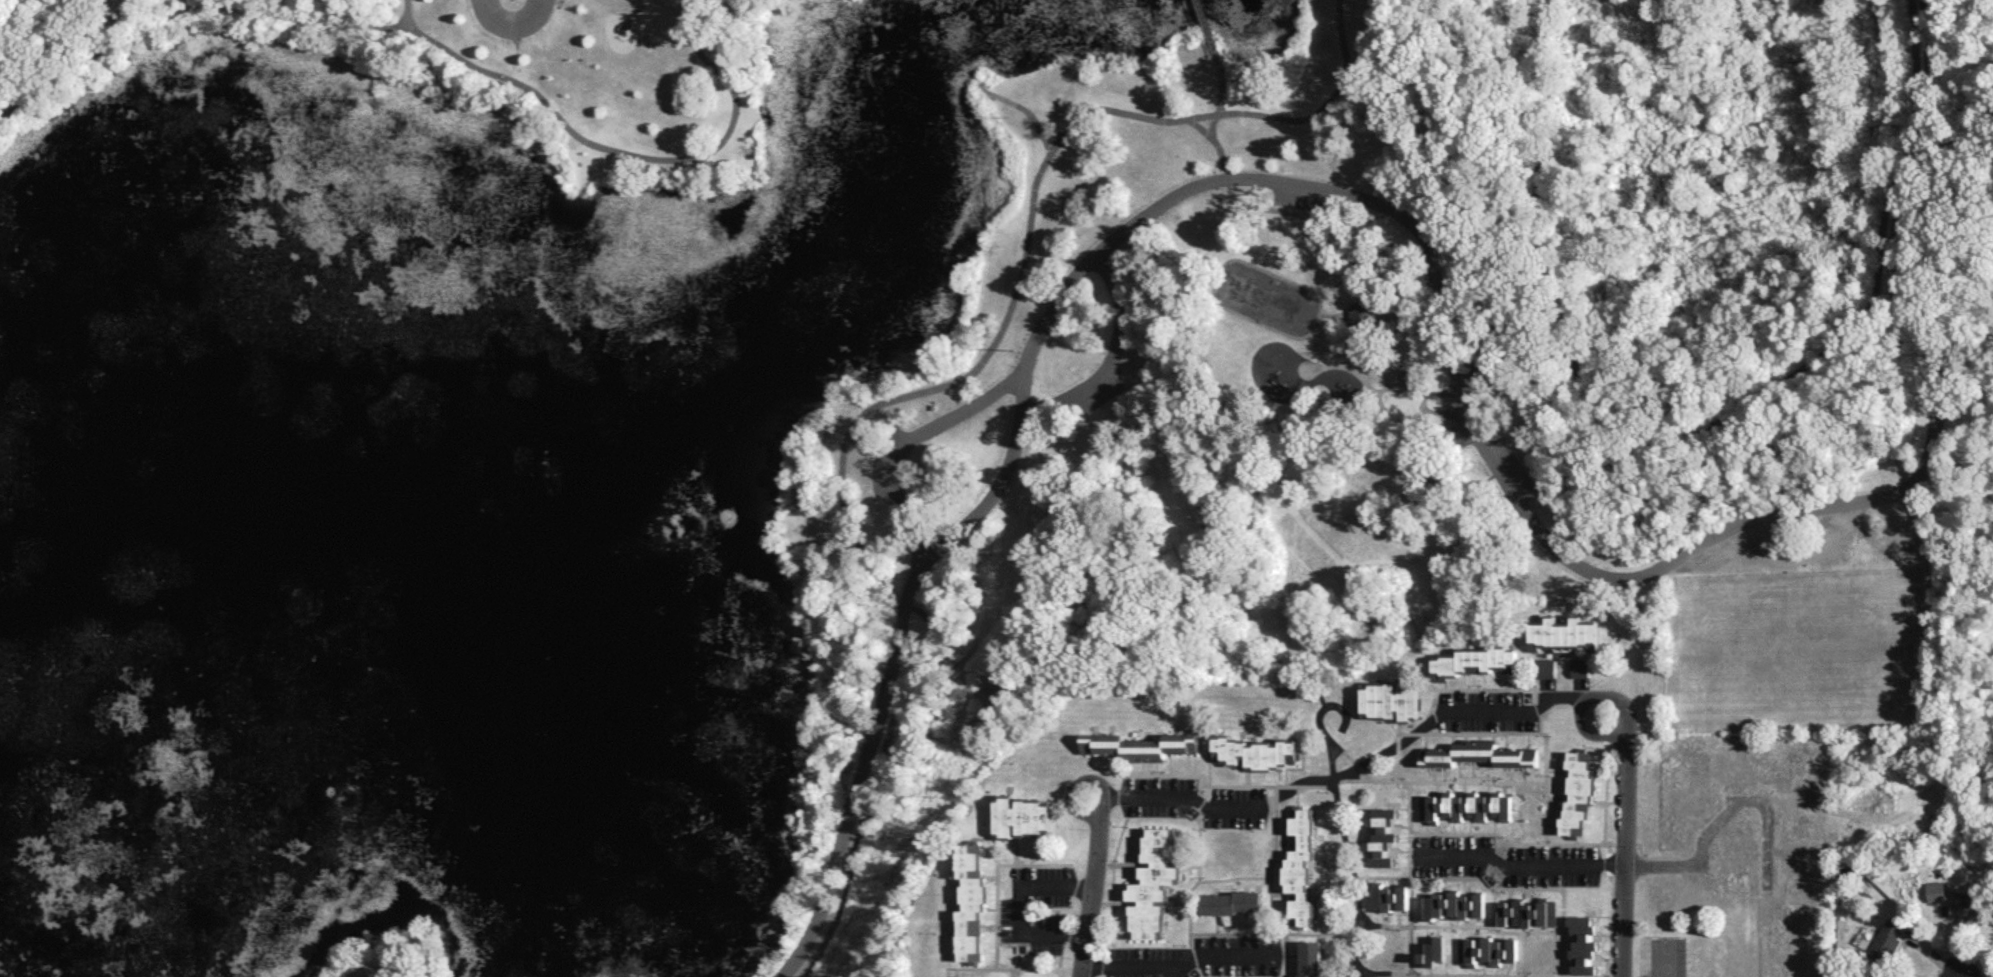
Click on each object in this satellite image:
pier: (922, 0)
road: (548, 1)
road: (685, 1)
road: (617, 2)
road: (408, 13)
road: (687, 15)
road: (510, 21)
road: (1209, 27)
road: (442, 44)
road: (1025, 106)
road: (1201, 126)
road: (1228, 169)
parking lot: (1301, 199)
road: (1352, 255)
road: (1434, 260)
road: (1219, 302)
road: (1346, 311)
road: (1390, 313)
building: (1365, 315)
road: (1365, 332)
road: (1113, 354)
road: (1342, 363)
building: (1399, 378)
road: (925, 389)
parking lot: (1102, 394)
parking lot: (1456, 414)
park: (861, 417)
road: (1402, 418)
road: (1447, 420)
road: (1672, 433)
road: (911, 438)
parking lot: (886, 458)
parking lot: (1516, 464)
building: (1565, 635)
building: (1478, 661)
building: (1547, 667)
building: (1581, 667)
road: (1472, 686)
building: (1392, 699)
road: (1538, 705)
road: (1318, 709)
road: (1518, 711)
road: (1539, 723)
road: (1586, 732)
building: (1142, 745)
building: (1256, 751)
building: (1480, 754)
road: (1356, 766)
road: (1544, 767)
road: (1156, 773)
road: (1265, 784)
building: (1578, 793)
road: (1177, 796)
road: (1604, 800)
road: (1096, 804)
building: (1466, 805)
road: (1545, 812)
building: (1023, 815)
road: (1627, 821)
road: (1410, 828)
building: (1383, 835)
road: (1198, 839)
road: (1503, 843)
road: (1607, 856)
road: (1270, 857)
road: (1521, 862)
road: (1663, 863)
building: (1302, 864)
road: (1349, 867)
road: (1112, 879)
building: (1154, 883)
road: (1193, 883)
road: (1410, 884)
road: (1549, 887)
building: (1936, 890)
road: (1093, 896)
building: (1391, 896)
building: (972, 900)
building: (1232, 902)
building: (1455, 904)
road: (1021, 905)
road: (995, 906)
building: (1968, 906)
building: (1517, 912)
building: (1547, 912)
road: (1610, 923)
road: (1376, 925)
building: (1888, 939)
building: (1584, 943)
building: (1487, 950)
building: (1435, 951)
road: (1056, 954)
road: (1284, 955)
park: (1666, 956)
building: (1310, 958)
road: (1180, 964)
road: (1146, 970)
road: (1365, 975)
road: (1475, 975)

